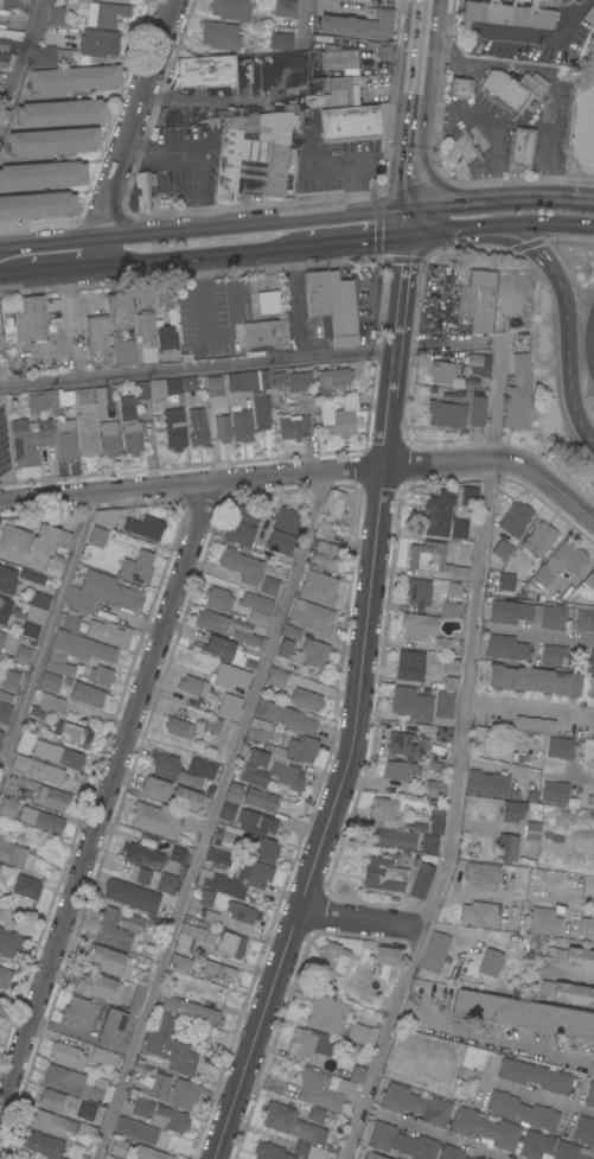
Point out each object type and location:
building: (17, 4)
building: (285, 7)
building: (230, 9)
building: (106, 14)
building: (506, 14)
building: (589, 14)
building: (55, 15)
road: (304, 19)
building: (360, 24)
building: (11, 34)
building: (221, 34)
road: (542, 38)
building: (280, 40)
building: (96, 44)
building: (51, 56)
road: (442, 56)
building: (338, 57)
road: (20, 61)
building: (2, 68)
building: (242, 68)
building: (204, 71)
road: (461, 71)
building: (74, 78)
building: (288, 87)
building: (512, 87)
gas station: (512, 87)
building: (460, 88)
road: (460, 88)
building: (336, 91)
road: (417, 102)
road: (458, 107)
building: (60, 113)
road: (135, 117)
road: (500, 120)
building: (350, 122)
road: (468, 138)
building: (52, 141)
building: (470, 141)
road: (140, 144)
road: (180, 144)
building: (520, 147)
building: (232, 153)
road: (193, 159)
road: (543, 159)
road: (383, 163)
road: (334, 168)
building: (274, 170)
building: (41, 174)
building: (143, 190)
road: (143, 190)
road: (124, 191)
road: (497, 196)
road: (590, 199)
building: (37, 204)
traffic signals: (408, 204)
road: (196, 205)
road: (408, 218)
road: (254, 221)
road: (547, 222)
road: (453, 228)
traffic signals: (408, 234)
road: (346, 241)
road: (50, 242)
road: (97, 251)
road: (191, 257)
road: (51, 272)
road: (4, 275)
building: (142, 293)
building: (266, 298)
building: (475, 298)
building: (318, 299)
building: (170, 301)
building: (341, 310)
building: (26, 320)
road: (566, 321)
building: (108, 324)
building: (145, 325)
building: (261, 336)
building: (166, 337)
road: (588, 340)
building: (1, 345)
road: (395, 349)
building: (123, 350)
road: (249, 362)
building: (478, 363)
building: (445, 371)
building: (333, 375)
building: (276, 378)
building: (299, 381)
building: (474, 381)
building: (192, 383)
building: (245, 384)
building: (213, 386)
building: (517, 394)
building: (458, 395)
building: (274, 397)
road: (496, 399)
building: (37, 401)
building: (100, 402)
building: (478, 410)
building: (127, 412)
building: (262, 412)
building: (446, 413)
building: (339, 414)
building: (81, 416)
building: (296, 421)
building: (242, 425)
building: (197, 427)
building: (223, 427)
building: (174, 428)
building: (65, 439)
building: (109, 439)
building: (30, 440)
parking lot: (2, 448)
road: (497, 458)
road: (190, 484)
building: (468, 492)
building: (333, 504)
building: (437, 505)
building: (106, 517)
building: (515, 517)
building: (242, 524)
building: (326, 524)
building: (145, 527)
building: (459, 527)
building: (283, 530)
building: (98, 536)
building: (537, 540)
building: (36, 543)
building: (502, 549)
building: (458, 550)
building: (326, 555)
building: (426, 555)
building: (566, 560)
building: (242, 565)
building: (136, 567)
building: (460, 573)
building: (31, 575)
building: (539, 577)
building: (7, 579)
building: (589, 580)
building: (506, 581)
building: (269, 586)
building: (318, 587)
building: (452, 588)
building: (419, 591)
building: (102, 593)
building: (530, 596)
building: (218, 598)
building: (255, 601)
building: (5, 609)
building: (451, 609)
building: (530, 612)
building: (34, 613)
building: (311, 616)
building: (257, 618)
building: (583, 618)
building: (70, 620)
building: (238, 624)
building: (419, 625)
building: (228, 629)
road: (46, 631)
building: (290, 631)
building: (108, 632)
road: (558, 635)
building: (1, 637)
building: (441, 644)
building: (505, 647)
building: (76, 649)
building: (231, 651)
building: (304, 651)
building: (24, 654)
building: (554, 655)
building: (590, 660)
building: (409, 664)
building: (451, 664)
building: (101, 675)
building: (230, 676)
building: (276, 677)
building: (534, 680)
building: (11, 681)
building: (50, 681)
building: (194, 686)
building: (590, 687)
building: (88, 694)
building: (6, 696)
building: (306, 699)
building: (445, 701)
building: (411, 703)
building: (47, 705)
building: (230, 706)
road: (531, 711)
building: (5, 712)
building: (283, 717)
building: (211, 724)
building: (534, 724)
building: (178, 727)
building: (258, 731)
building: (72, 733)
building: (442, 733)
building: (1, 735)
building: (30, 737)
building: (407, 744)
building: (0, 745)
building: (560, 747)
building: (302, 749)
building: (274, 750)
building: (58, 754)
building: (21, 762)
building: (433, 765)
building: (168, 766)
building: (202, 766)
building: (401, 769)
road: (503, 769)
building: (272, 770)
building: (47, 772)
road: (567, 779)
building: (492, 783)
building: (395, 784)
building: (154, 787)
building: (436, 788)
building: (234, 791)
building: (555, 791)
road: (104, 792)
building: (21, 797)
building: (52, 798)
building: (189, 798)
building: (260, 798)
building: (7, 807)
building: (226, 810)
building: (383, 810)
building: (510, 810)
road: (211, 815)
road: (459, 816)
building: (39, 819)
building: (157, 819)
road: (328, 819)
building: (190, 821)
building: (435, 822)
building: (416, 827)
building: (234, 830)
building: (532, 830)
building: (260, 834)
building: (216, 836)
building: (568, 838)
building: (229, 839)
building: (390, 839)
building: (429, 842)
building: (507, 846)
building: (145, 851)
building: (14, 854)
building: (218, 854)
building: (175, 856)
building: (5, 870)
building: (255, 873)
building: (384, 874)
building: (141, 875)
building: (481, 875)
building: (168, 880)
building: (421, 880)
building: (222, 883)
building: (26, 886)
road: (573, 894)
building: (132, 896)
building: (206, 897)
building: (242, 912)
building: (479, 912)
building: (211, 916)
road: (362, 918)
building: (547, 921)
building: (586, 926)
building: (108, 929)
building: (186, 936)
building: (8, 942)
building: (230, 944)
building: (436, 953)
building: (388, 955)
building: (579, 957)
building: (336, 959)
building: (110, 960)
building: (490, 961)
building: (180, 962)
building: (217, 970)
road: (568, 975)
building: (5, 977)
building: (96, 986)
building: (573, 994)
building: (136, 1000)
building: (191, 1010)
building: (78, 1013)
building: (326, 1013)
building: (523, 1013)
building: (162, 1023)
building: (111, 1029)
building: (359, 1033)
building: (306, 1042)
road: (510, 1049)
building: (167, 1053)
building: (66, 1055)
building: (103, 1056)
building: (357, 1075)
building: (534, 1075)
building: (74, 1082)
building: (157, 1087)
building: (321, 1089)
building: (181, 1094)
building: (589, 1095)
road: (535, 1096)
building: (50, 1100)
building: (416, 1104)
building: (142, 1108)
building: (523, 1110)
building: (315, 1114)
building: (87, 1119)
building: (170, 1119)
building: (47, 1121)
building: (292, 1123)
building: (485, 1128)
building: (135, 1131)
building: (585, 1131)
road: (433, 1134)
building: (401, 1142)
building: (43, 1145)
building: (536, 1145)
building: (135, 1151)
building: (270, 1151)
building: (308, 1151)
building: (569, 1151)
building: (452, 1153)
building: (373, 1155)
building: (487, 1158)
building: (593, 1158)

